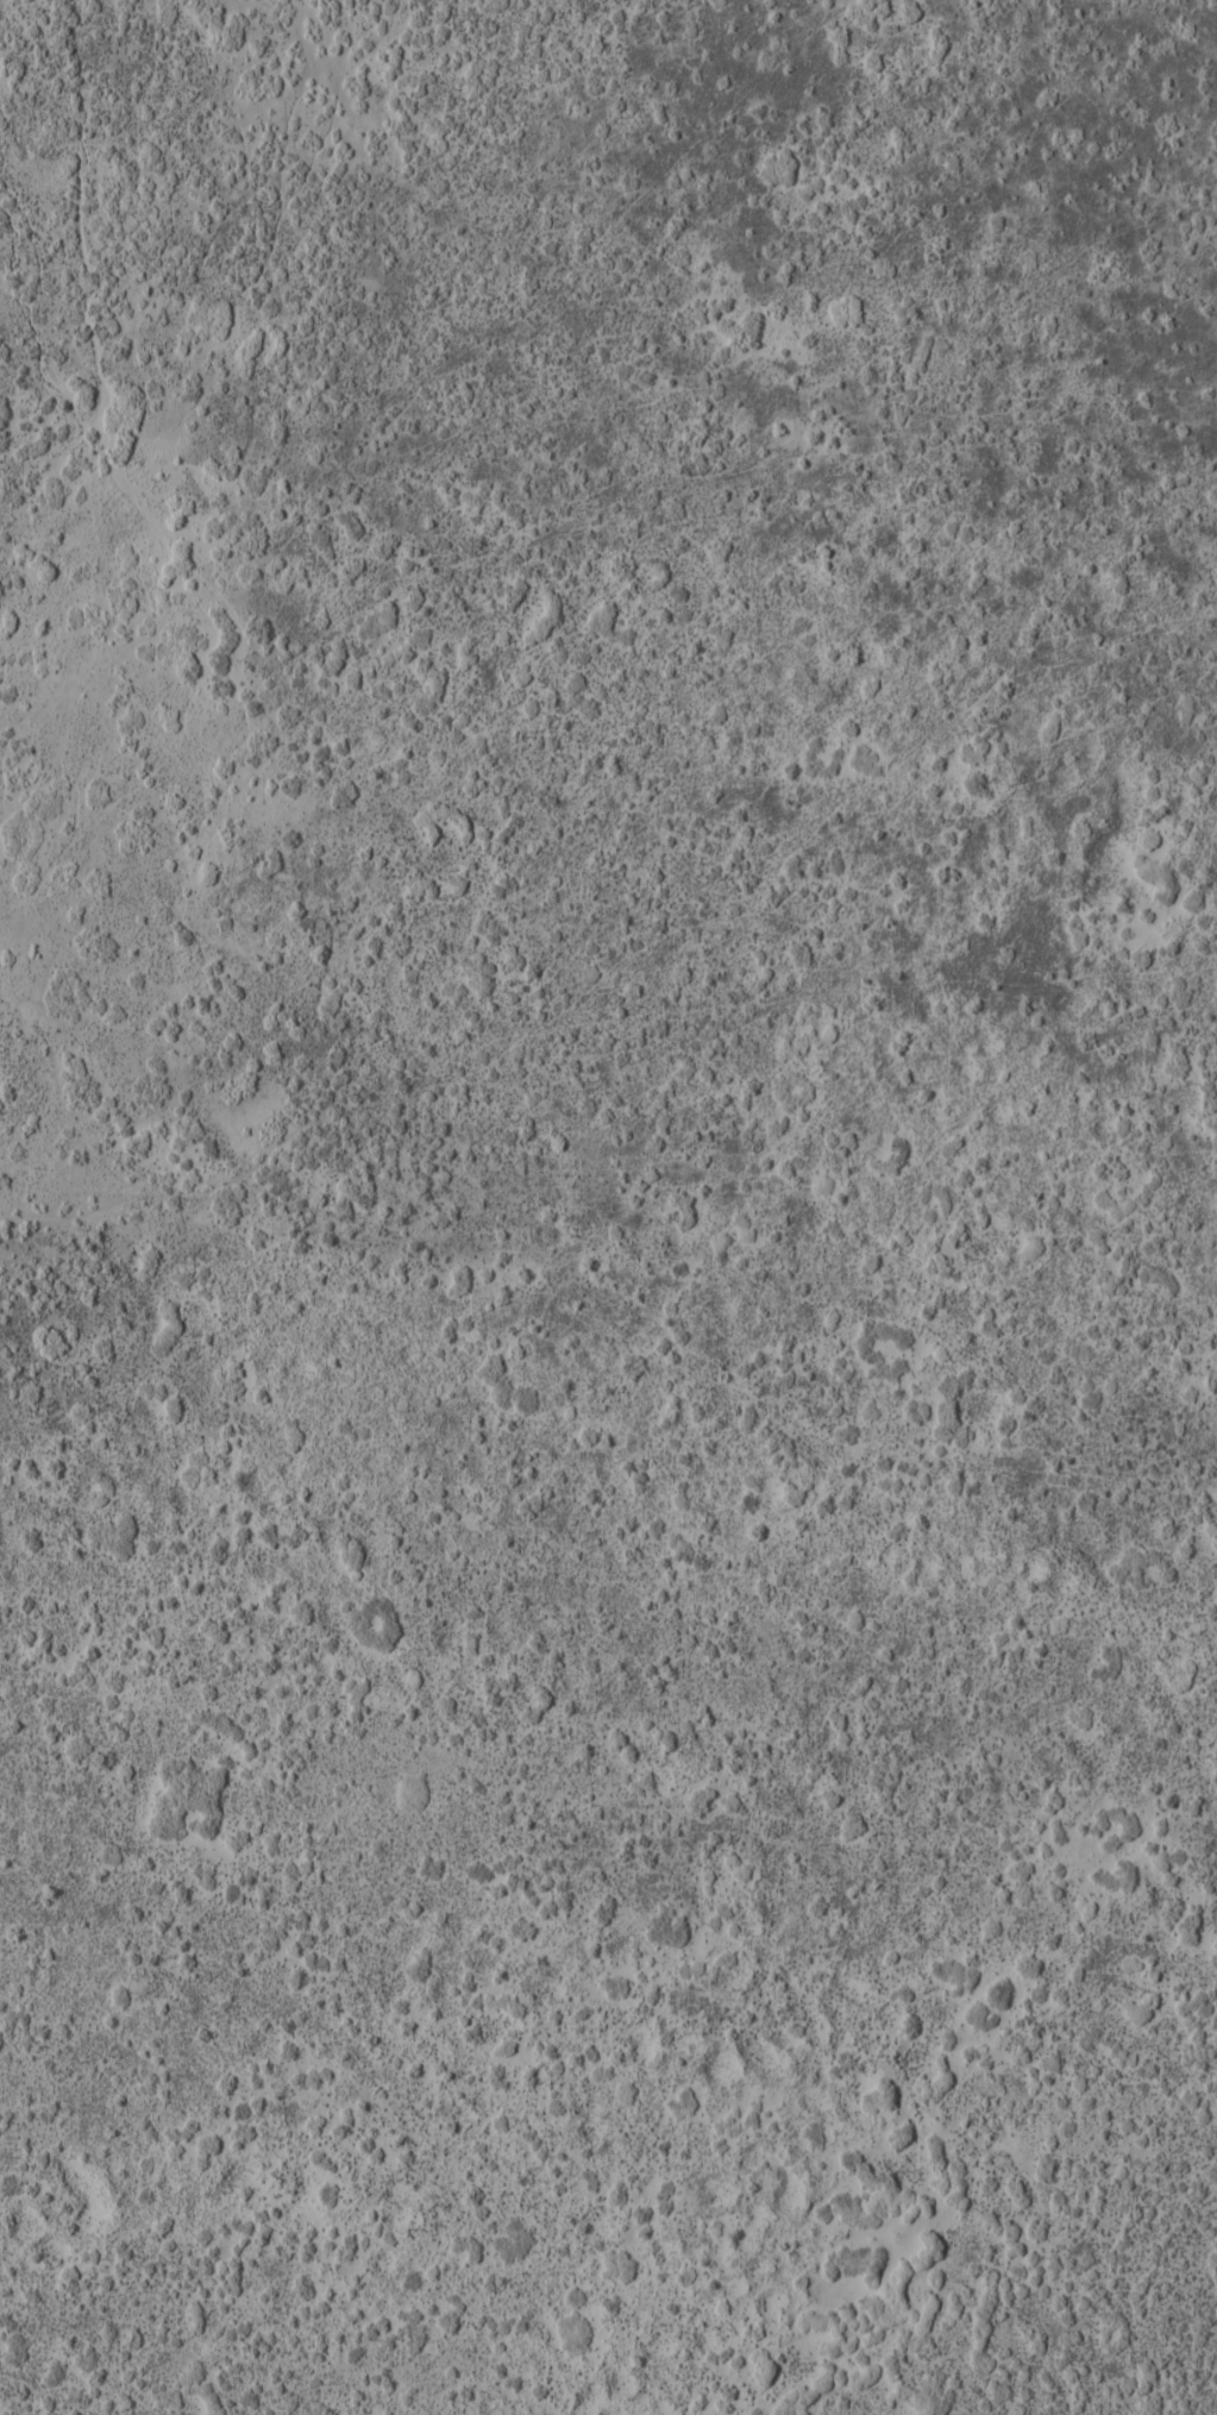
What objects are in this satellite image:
road: (36, 87)

